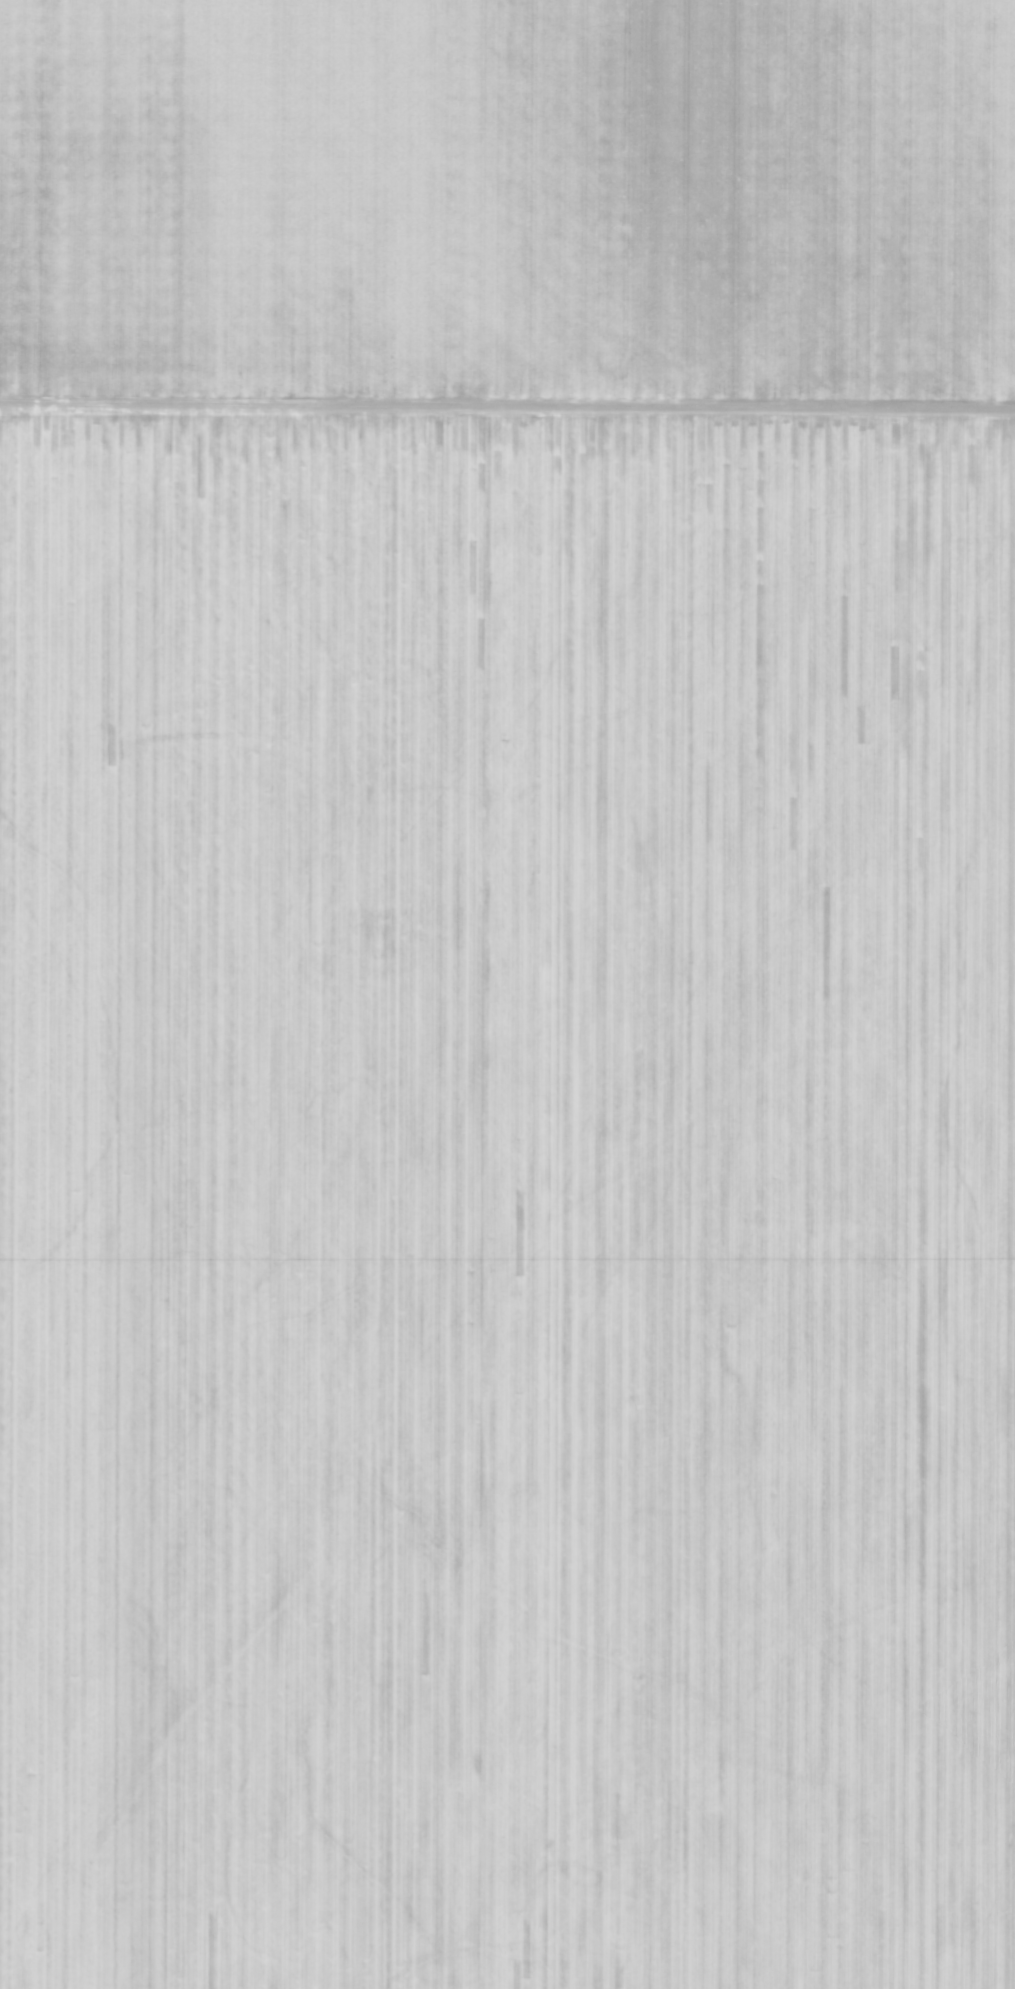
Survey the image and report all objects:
road: (507, 405)

